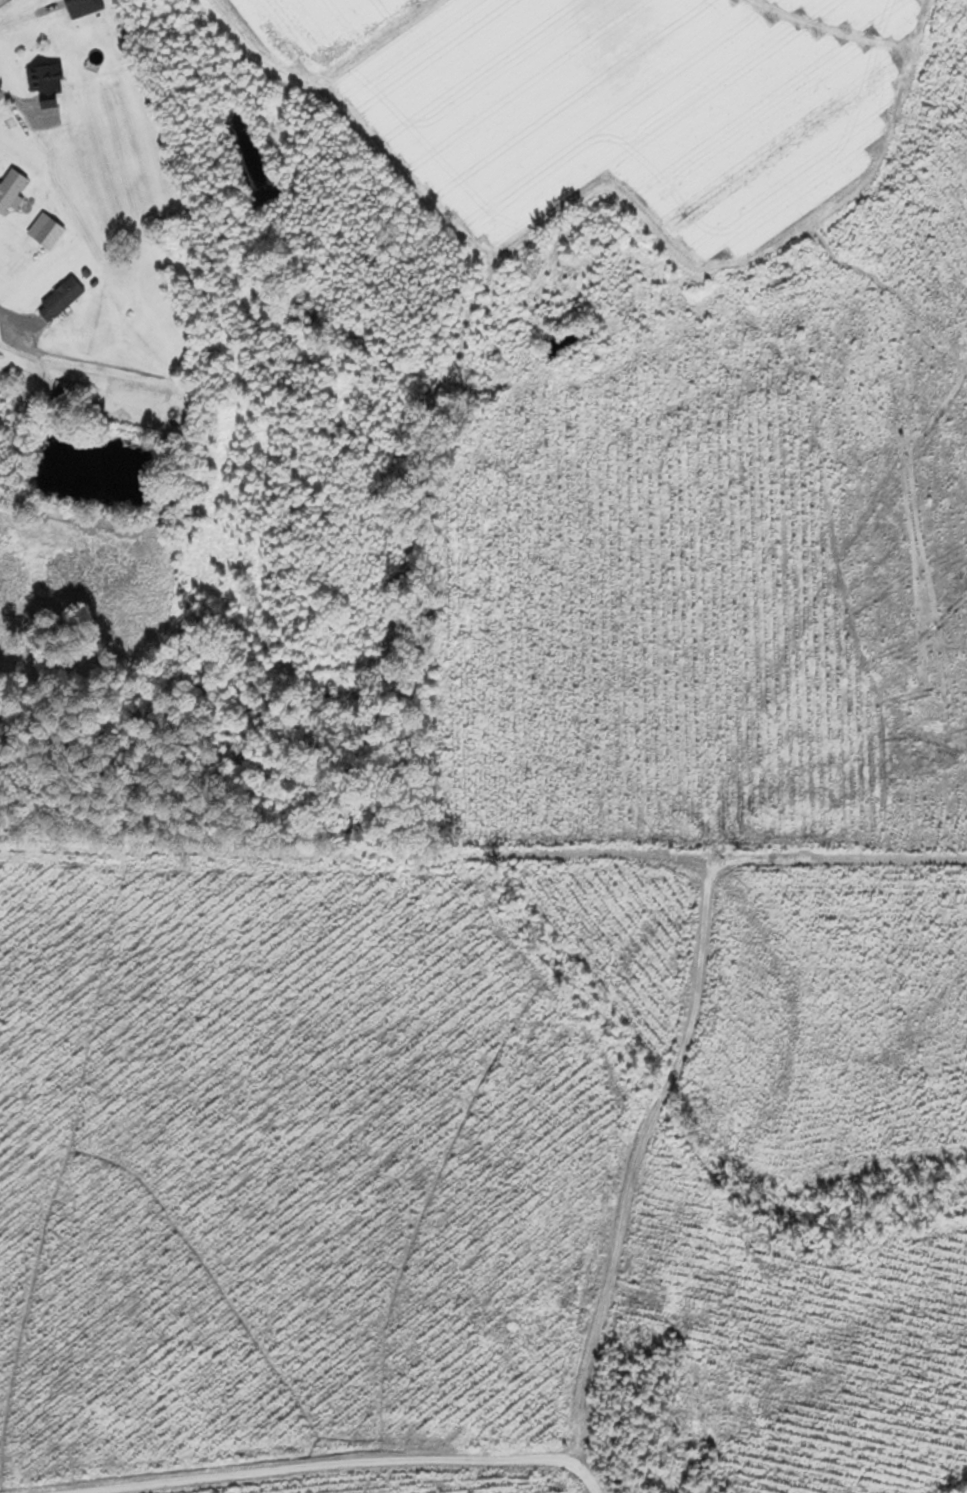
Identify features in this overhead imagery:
building: (43, 85)
road: (17, 102)
building: (10, 190)
building: (60, 300)
building: (63, 391)
road: (250, 1425)

